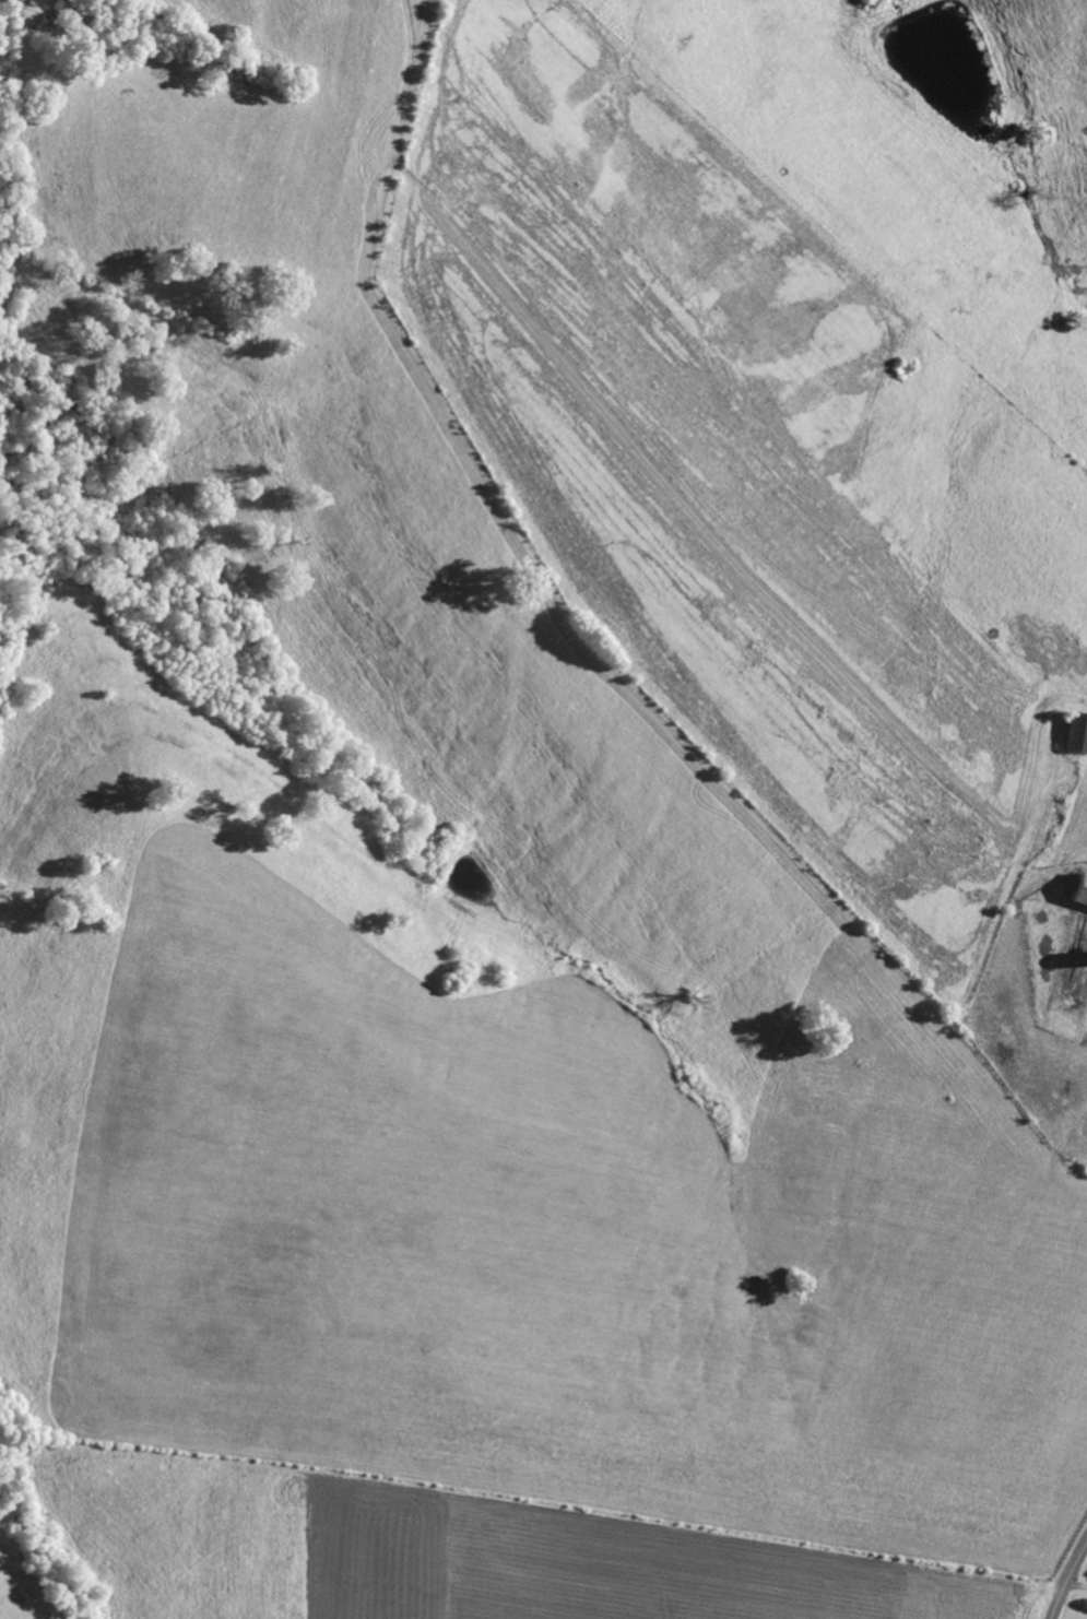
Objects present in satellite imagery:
building: (1079, 732)
building: (1082, 890)
road: (1067, 1580)
road: (1076, 1584)

